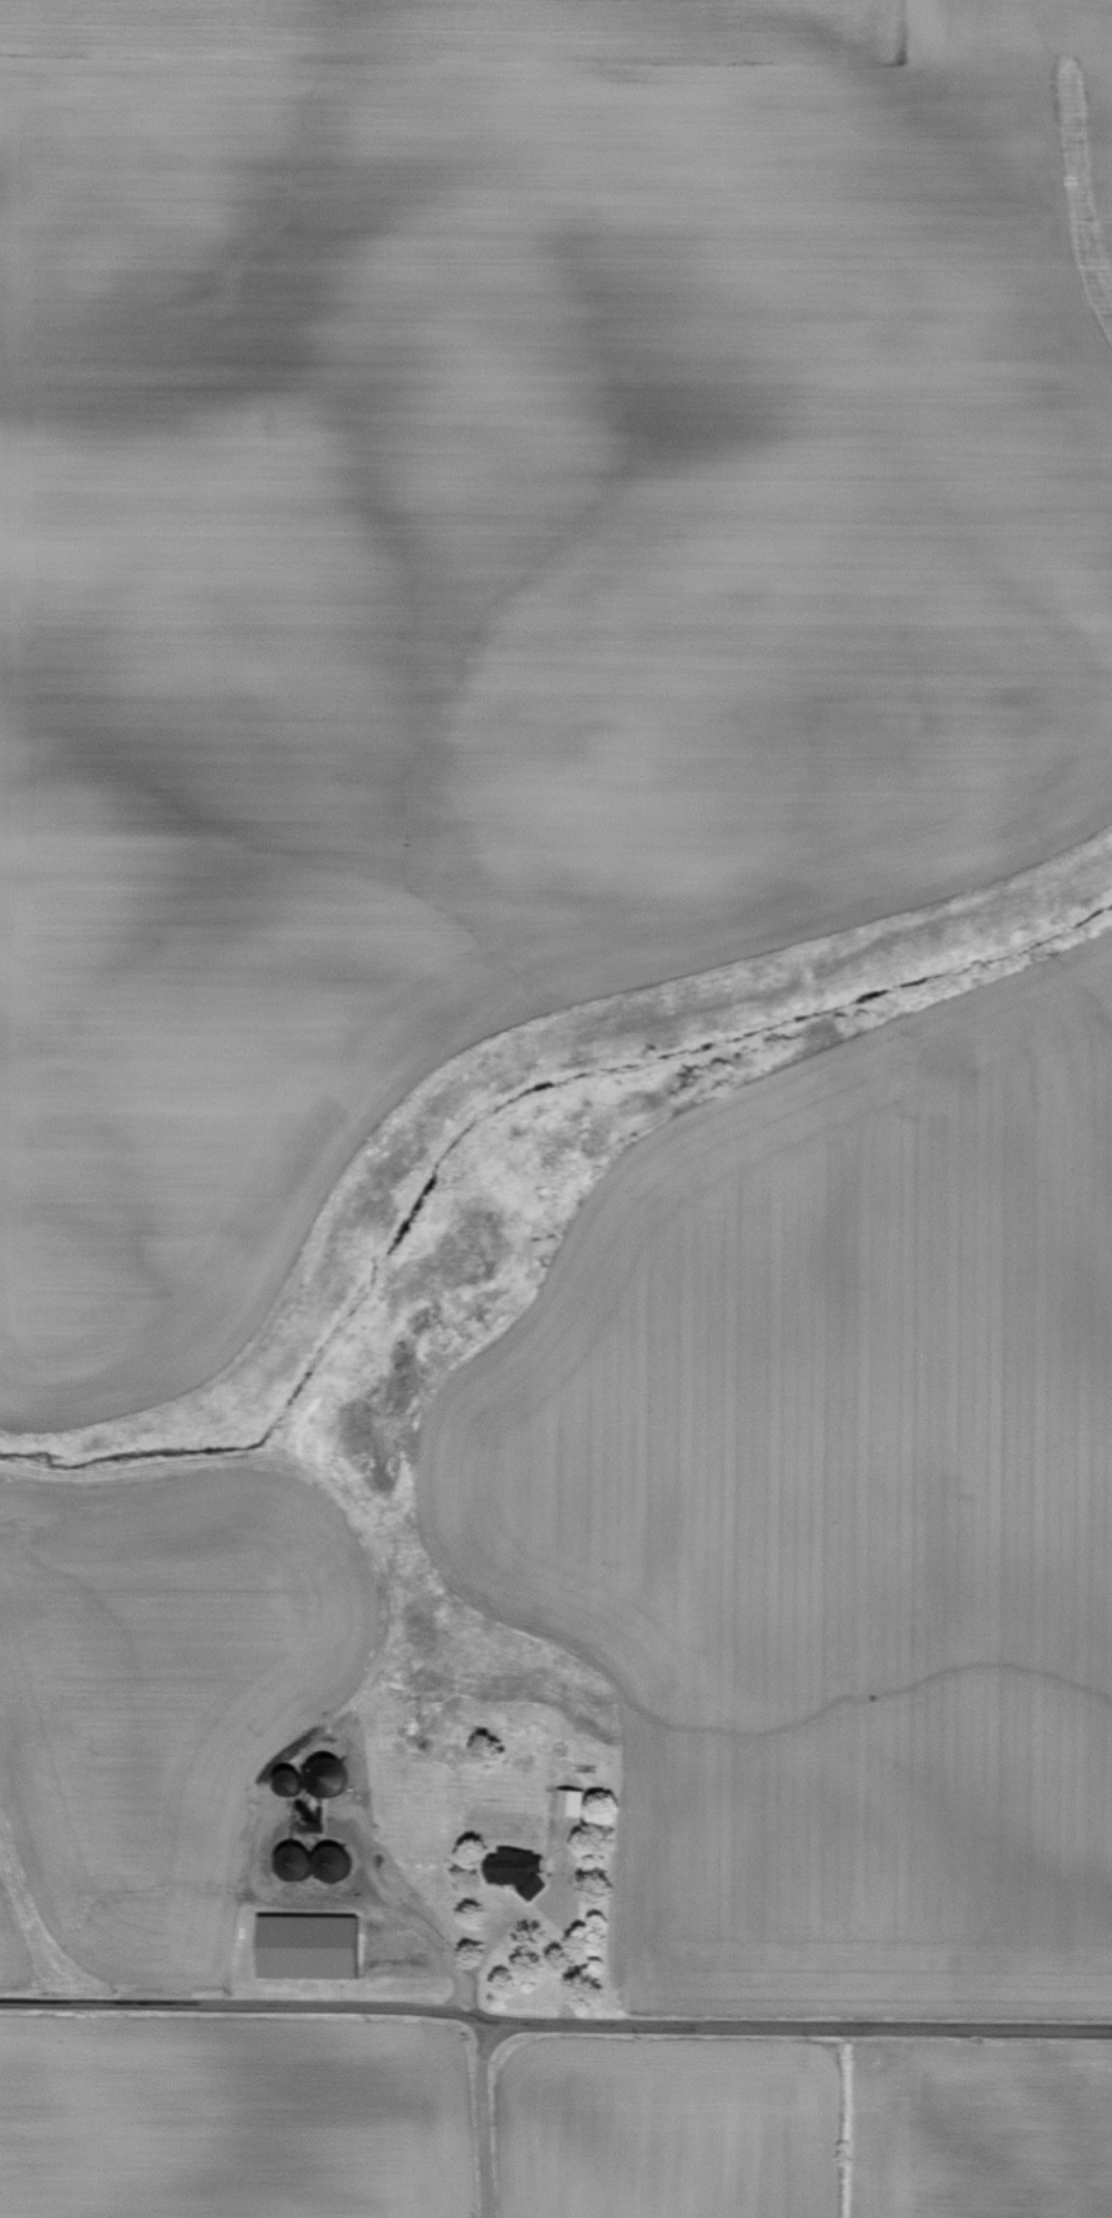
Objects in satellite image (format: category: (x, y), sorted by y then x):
building: (567, 1803)
road: (407, 1896)
road: (513, 1910)
building: (301, 1947)
road: (568, 1960)
road: (553, 2024)
road: (482, 2120)

